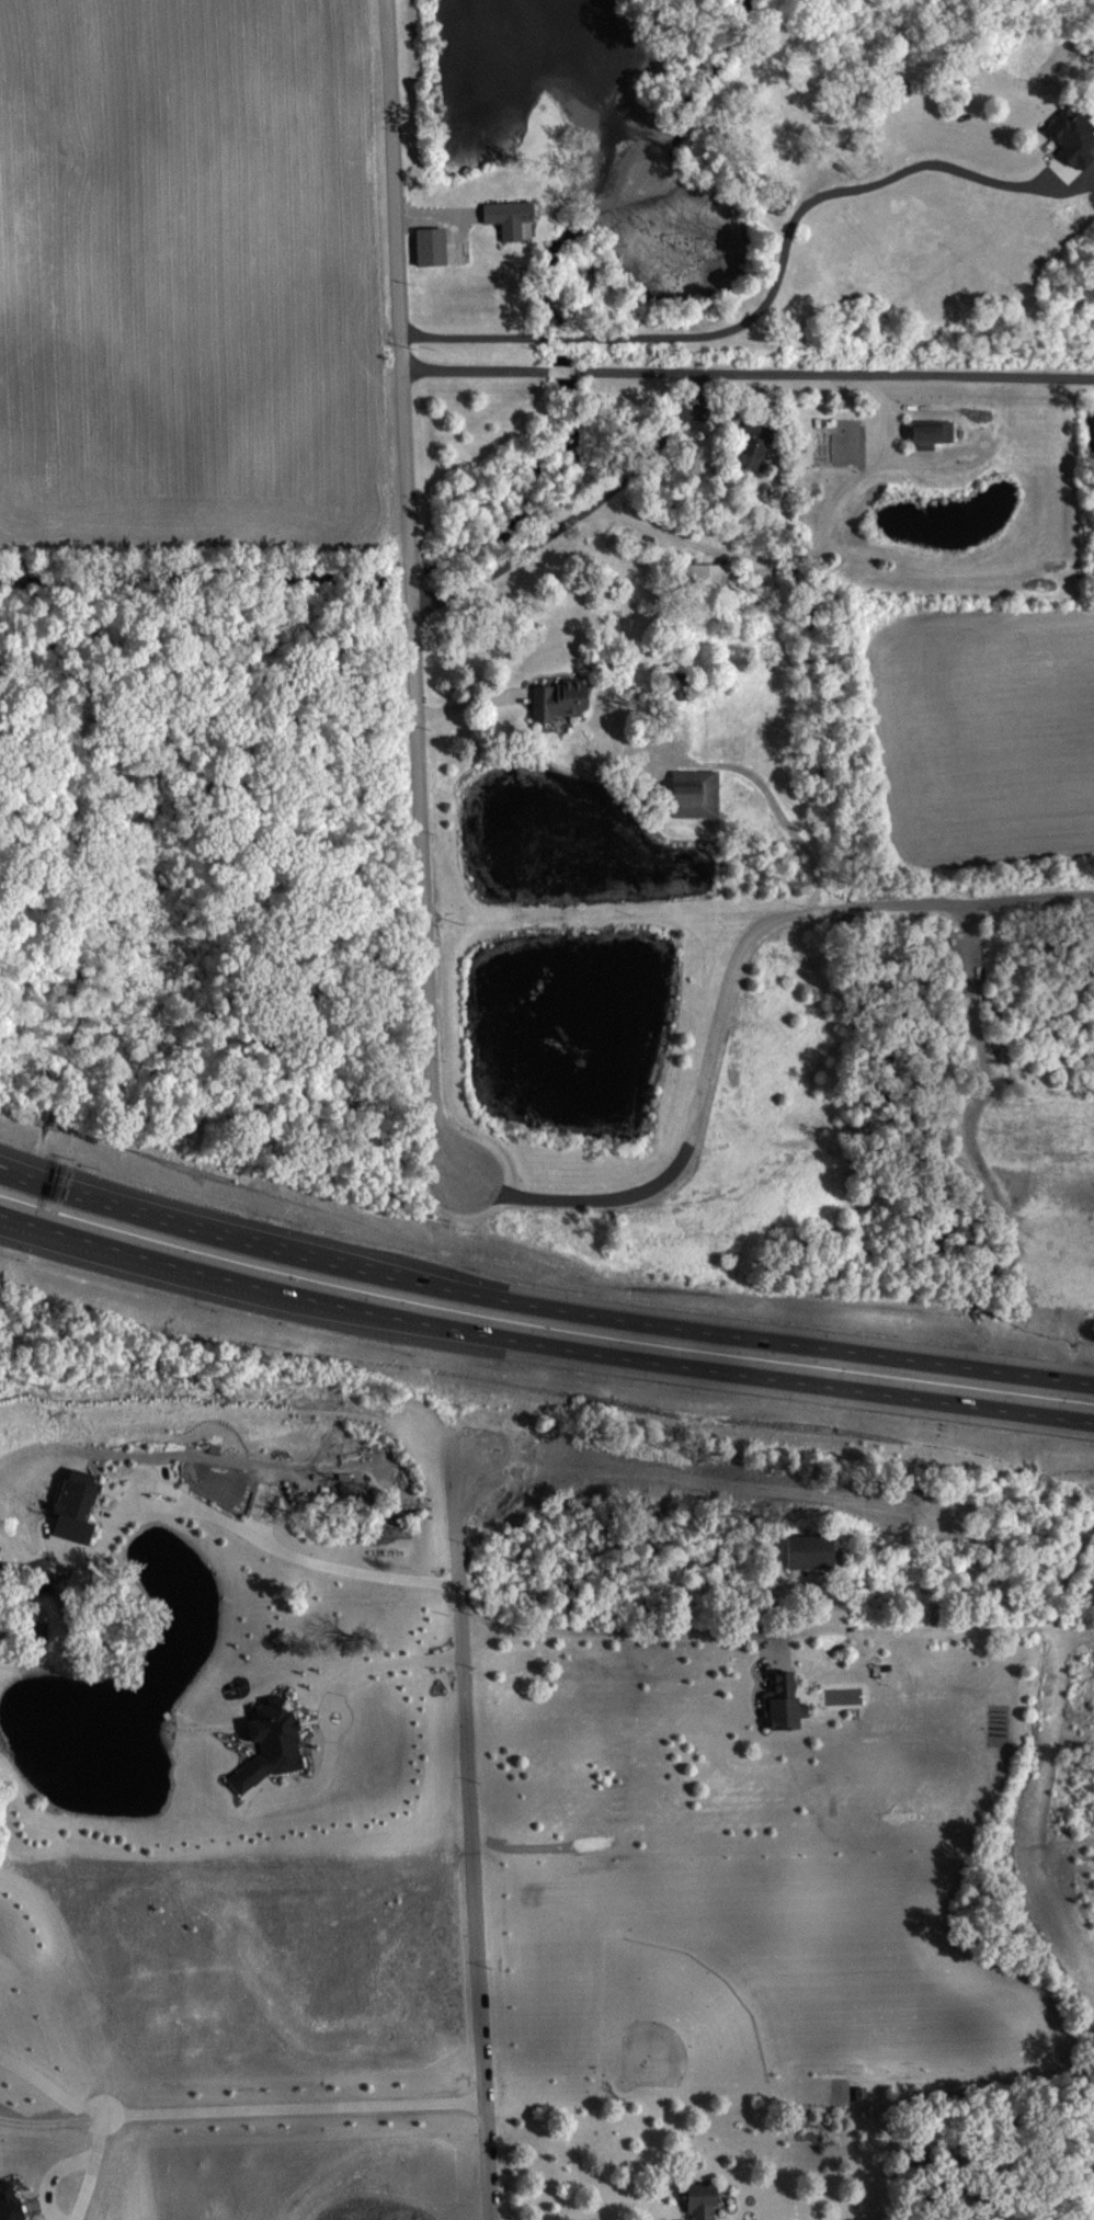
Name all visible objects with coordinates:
building: (1075, 139)
building: (512, 218)
building: (434, 248)
road: (400, 278)
road: (770, 303)
road: (981, 378)
building: (935, 435)
road: (661, 449)
building: (753, 453)
road: (880, 459)
road: (411, 570)
building: (709, 576)
building: (681, 686)
building: (563, 702)
building: (698, 795)
road: (776, 802)
road: (423, 884)
road: (727, 988)
road: (79, 1187)
road: (70, 1240)
road: (542, 1306)
road: (542, 1335)
road: (162, 1484)
building: (75, 1503)
road: (247, 1530)
building: (808, 1550)
road: (648, 1630)
building: (42, 1632)
building: (780, 1701)
road: (323, 1710)
road: (344, 1717)
building: (270, 1742)
road: (471, 1833)
road: (235, 2111)
road: (91, 2167)
building: (699, 2200)
building: (11, 2204)

